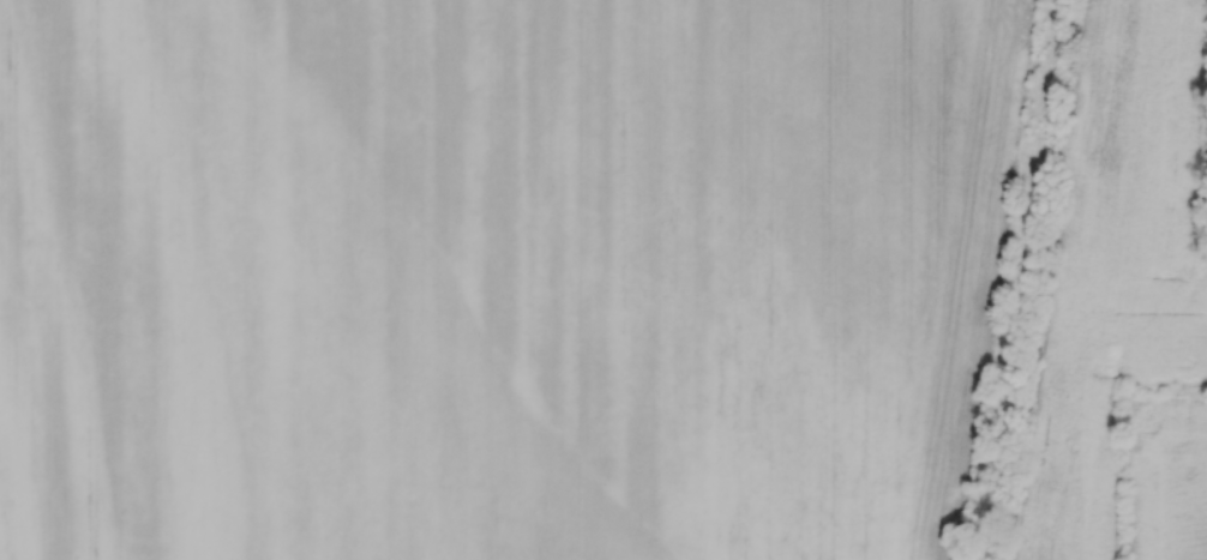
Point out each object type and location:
crop: (1125, 303)

